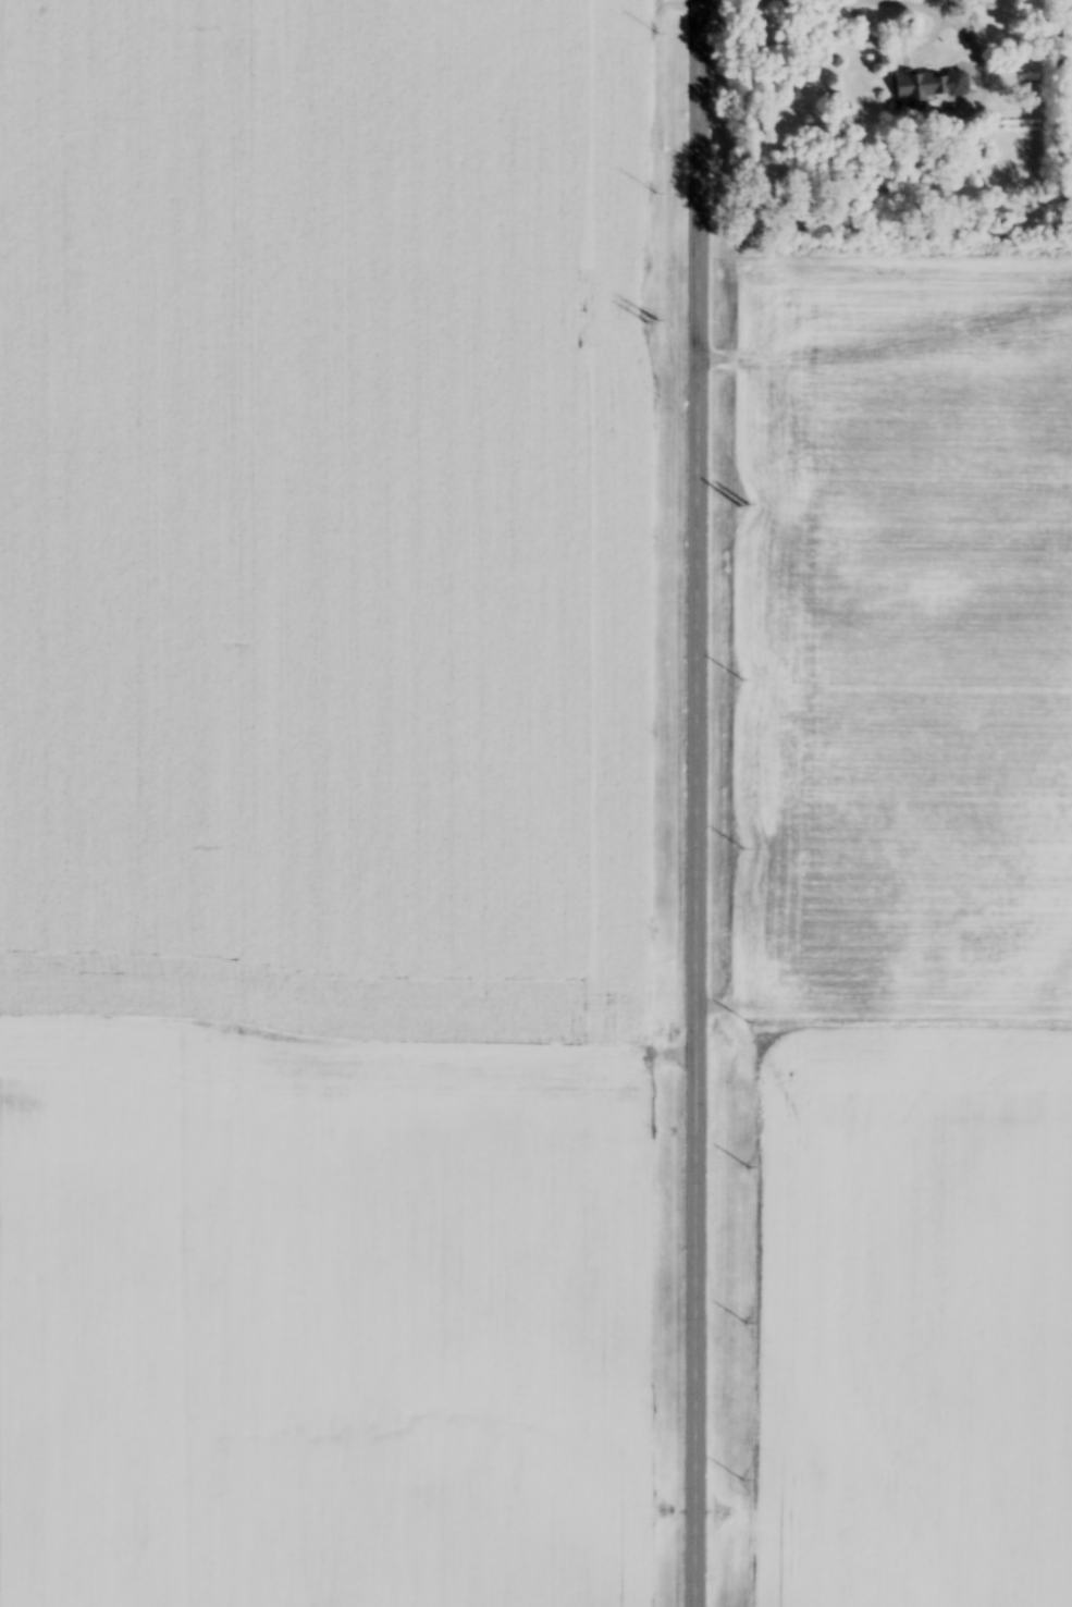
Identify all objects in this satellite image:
road: (936, 9)
road: (911, 45)
road: (975, 56)
building: (933, 85)
road: (698, 803)

